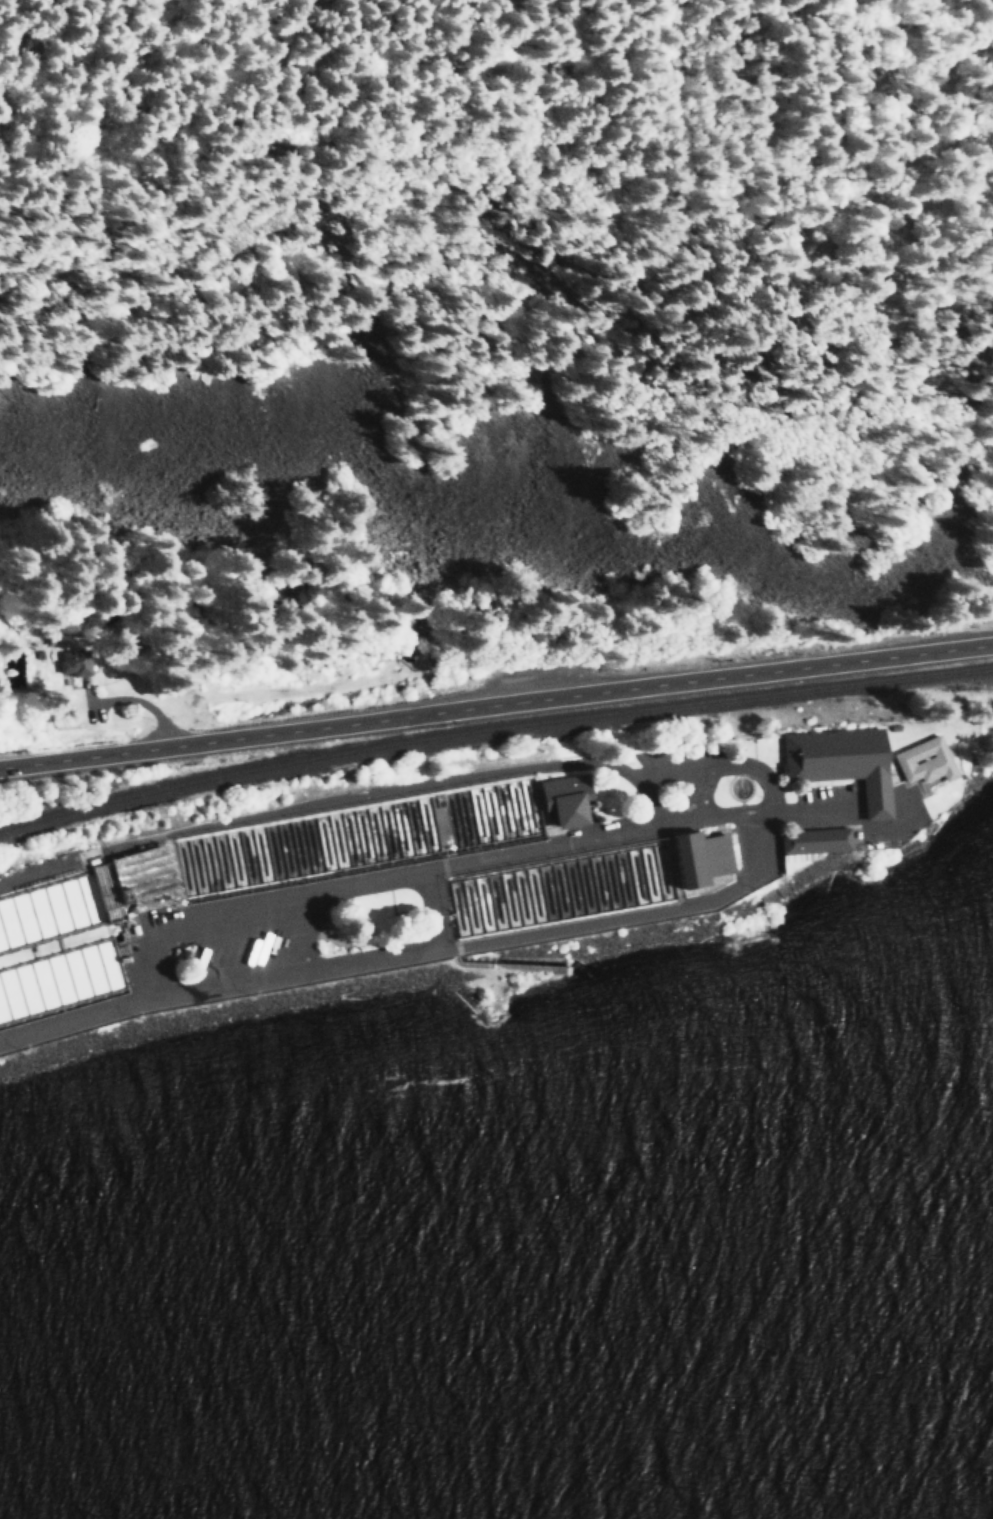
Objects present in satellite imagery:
road: (496, 706)
railway: (493, 732)
parking lot: (678, 756)
building: (920, 759)
building: (839, 763)
parking lot: (697, 793)
building: (559, 801)
building: (804, 844)
building: (701, 855)
parking lot: (259, 941)
building: (20, 954)
road: (381, 958)

